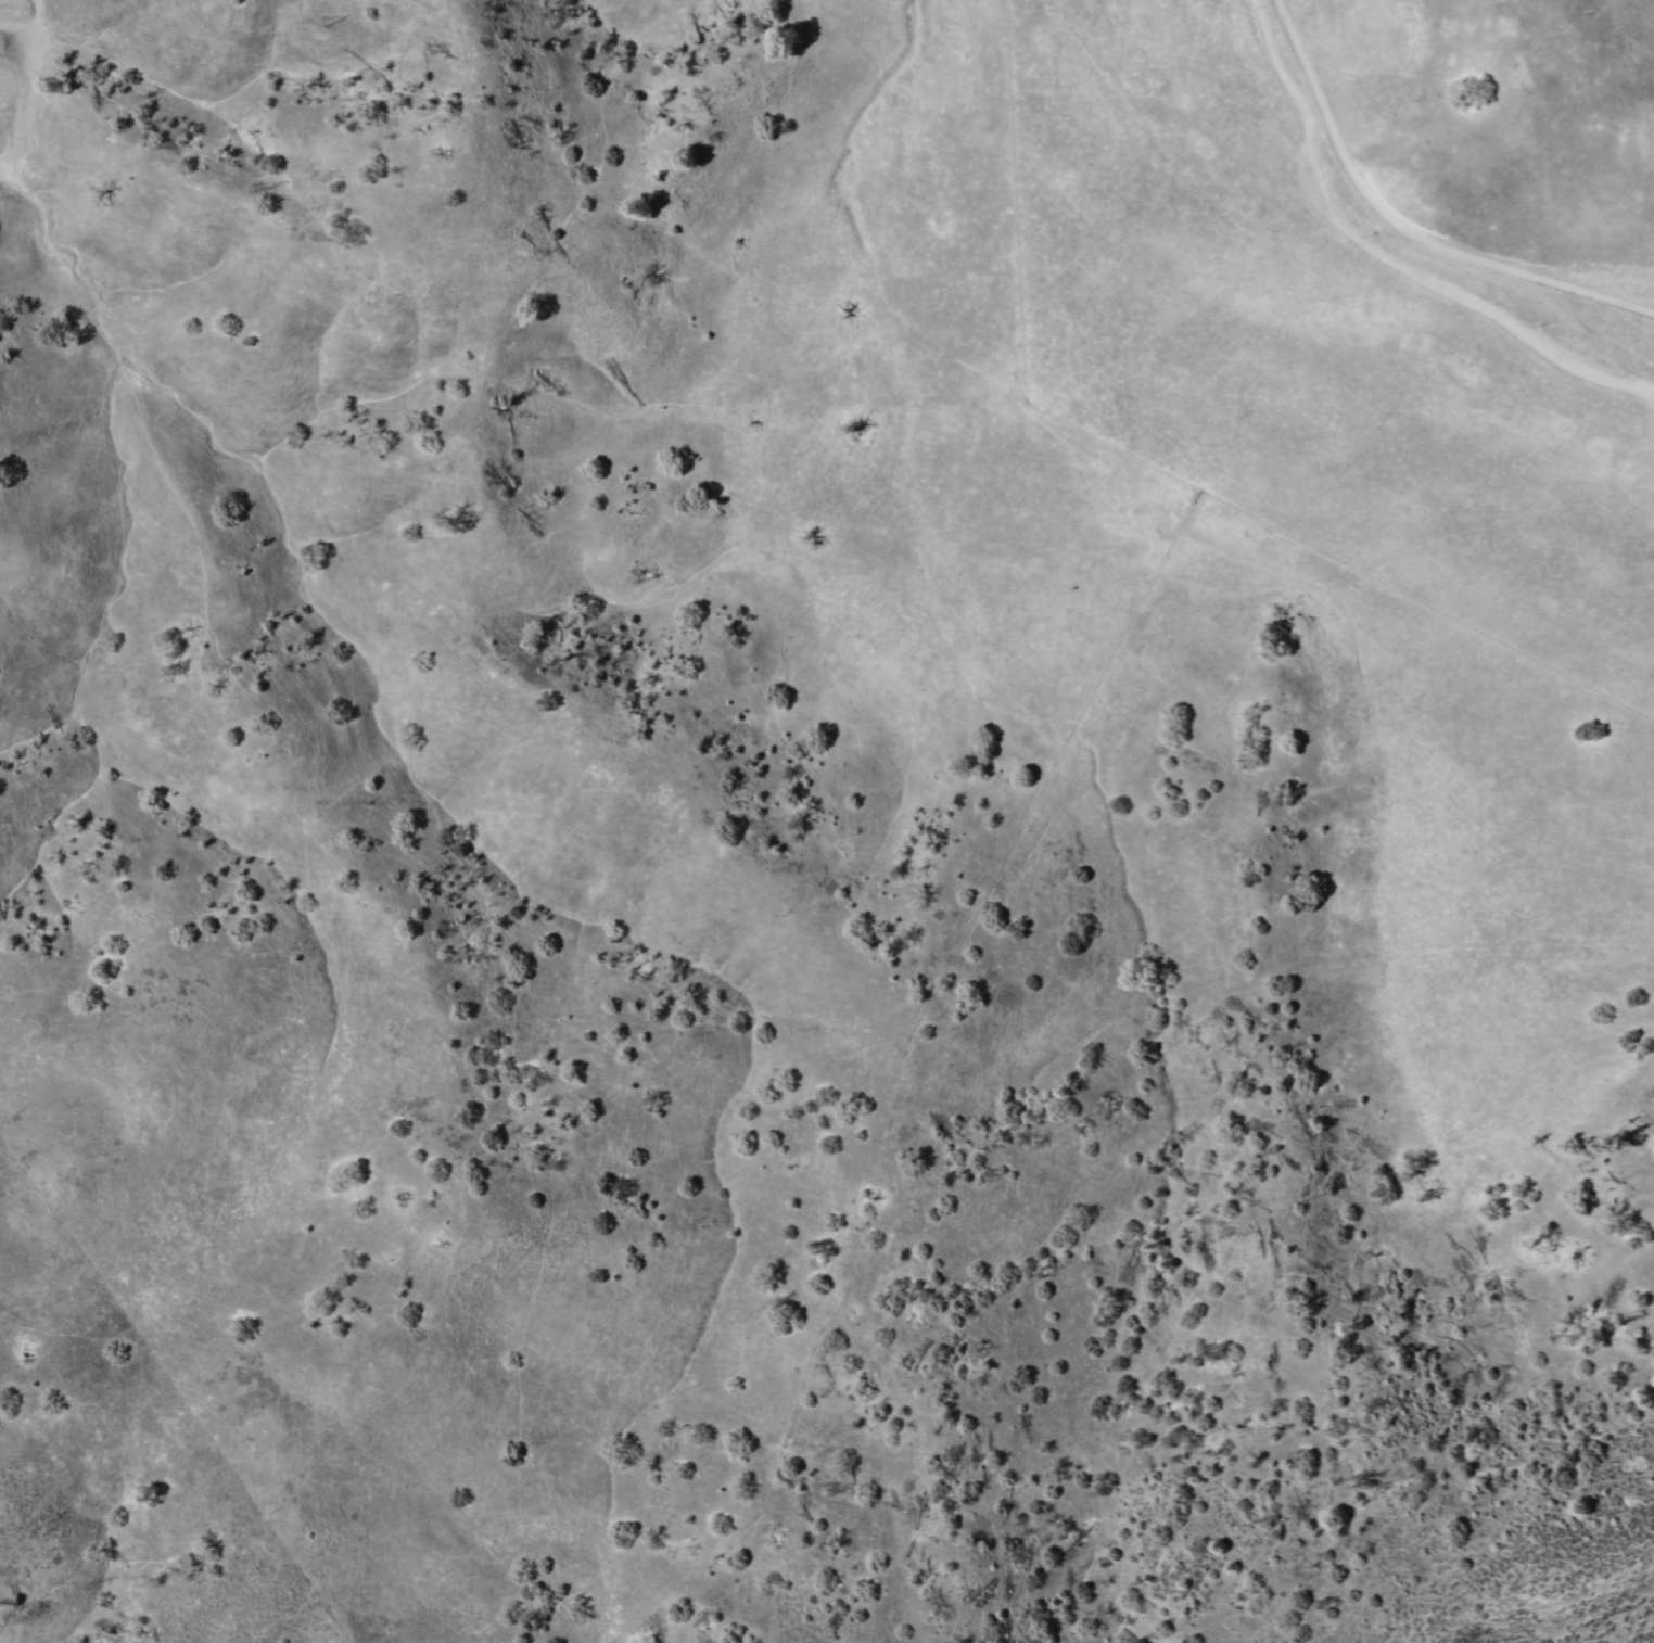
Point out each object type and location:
road: (1403, 228)

